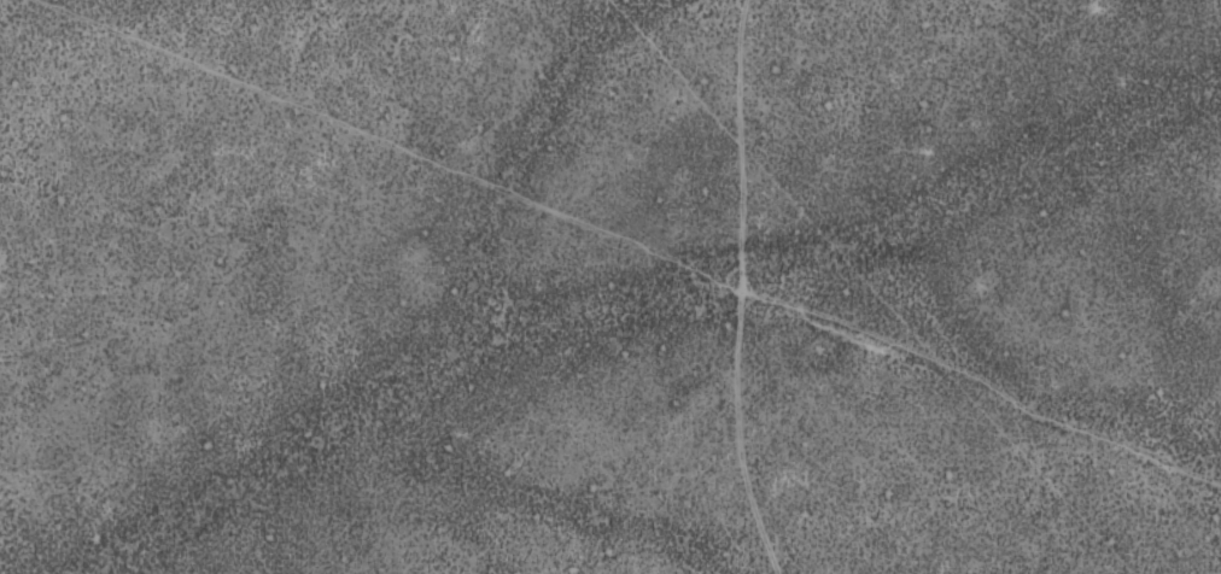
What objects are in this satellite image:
road: (1069, 182)
road: (632, 244)

